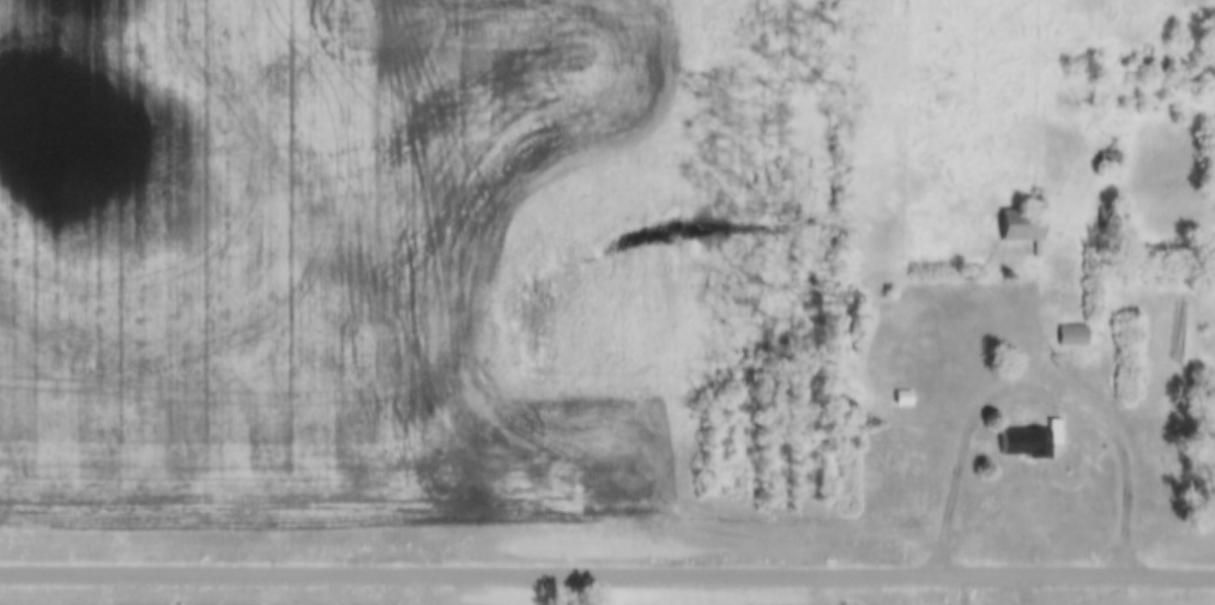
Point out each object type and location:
building: (1105, 159)
building: (1110, 216)
building: (1016, 224)
building: (1069, 333)
road: (1039, 385)
building: (1026, 441)
road: (607, 571)

